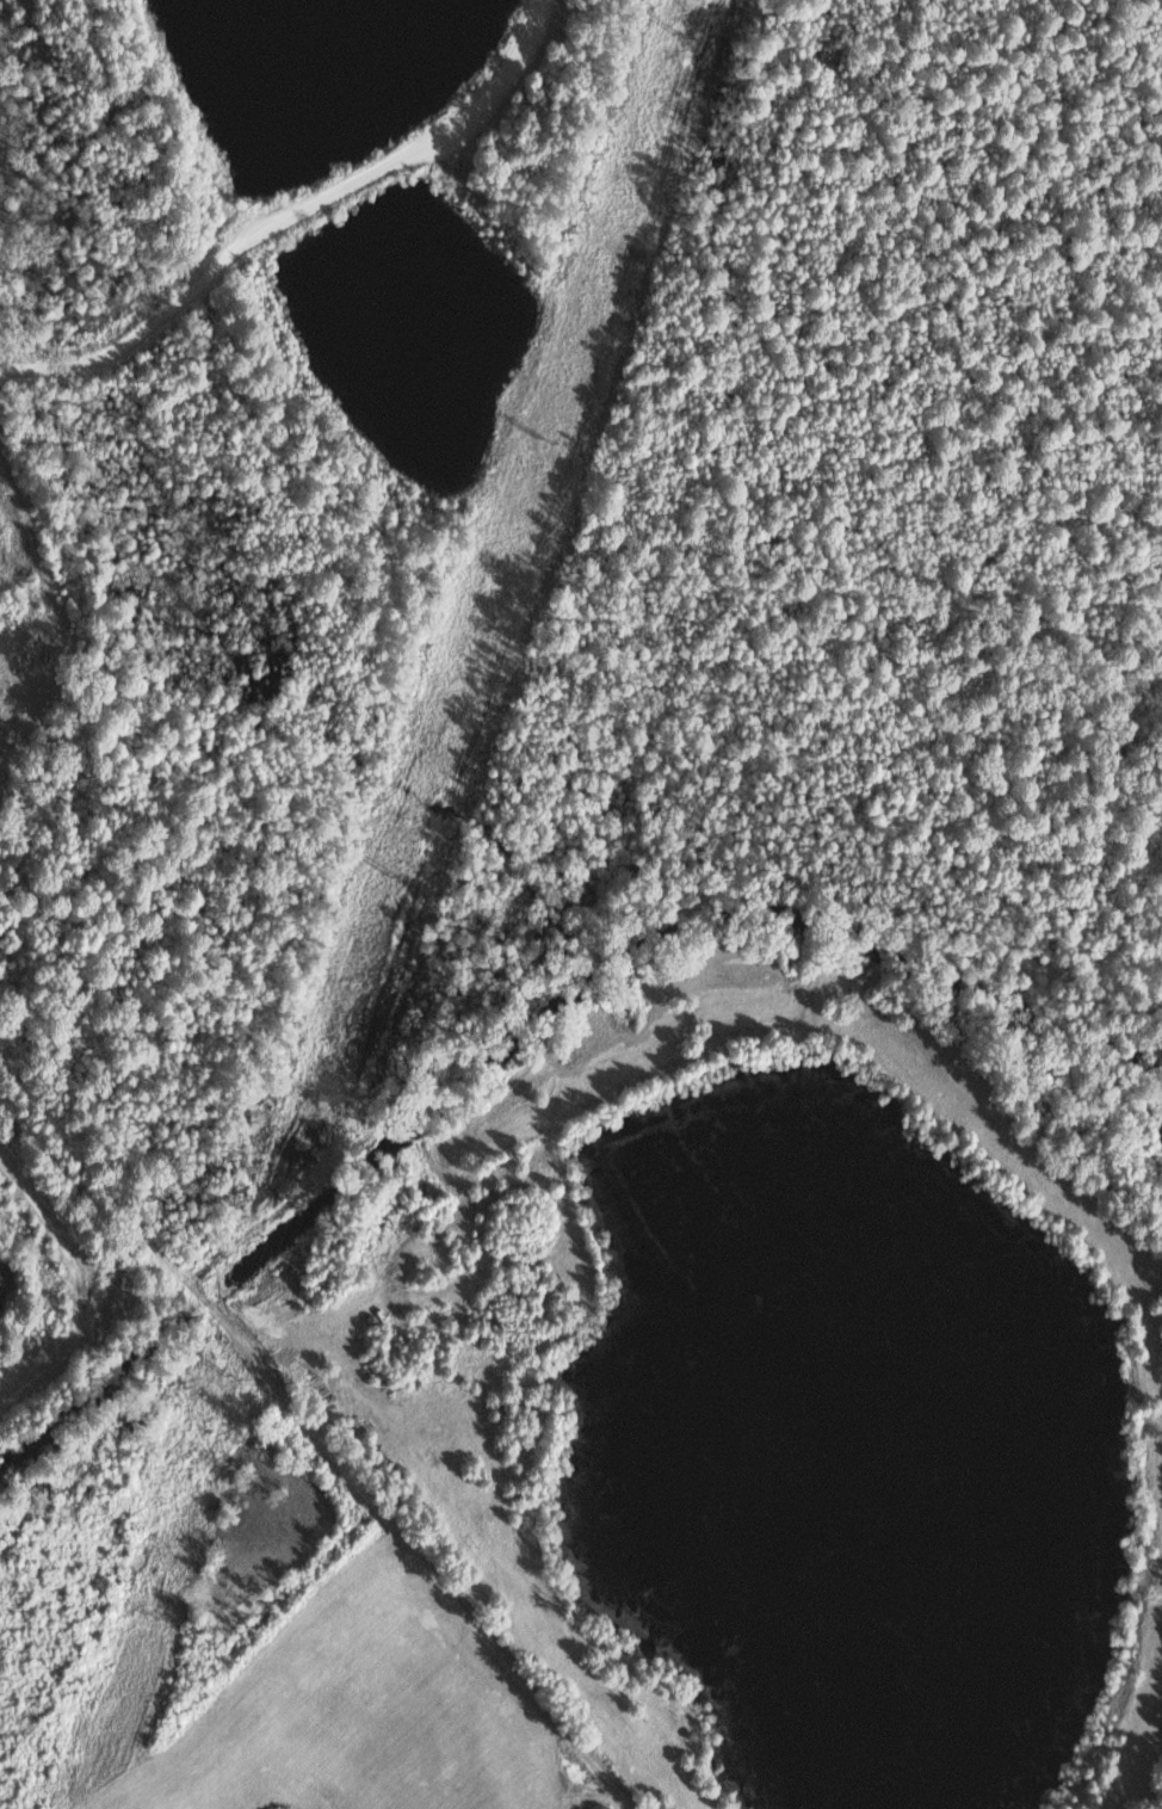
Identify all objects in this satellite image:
power tower: (678, 39)
power tower: (545, 445)
power tower: (403, 879)
power tower: (231, 1376)
power tower: (149, 1618)

